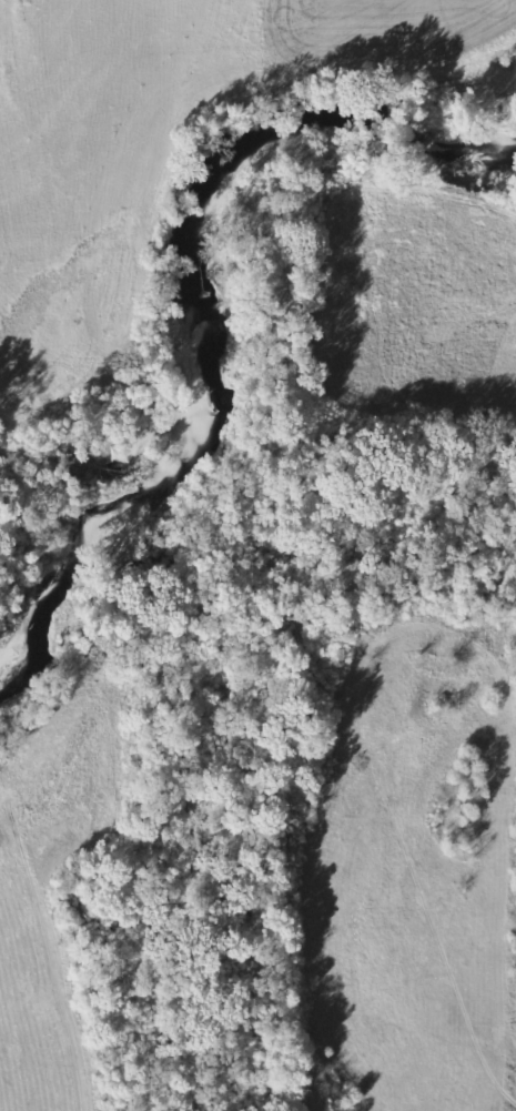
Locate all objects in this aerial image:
river: (200, 305)

